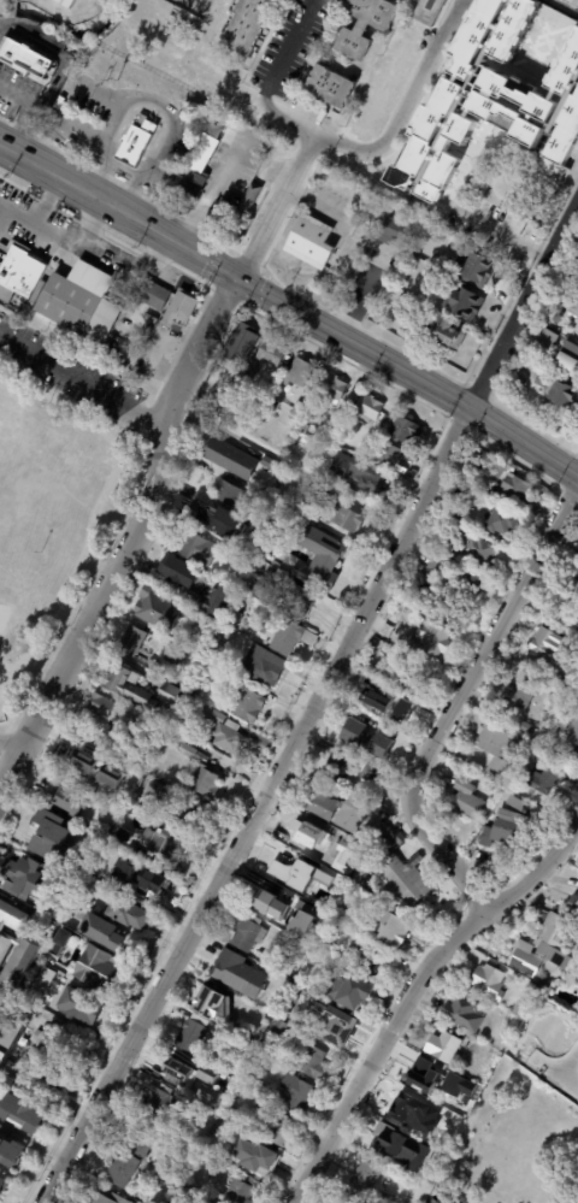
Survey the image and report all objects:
building: (64, 4)
building: (429, 12)
building: (246, 25)
building: (362, 25)
building: (491, 34)
road: (283, 52)
building: (23, 57)
building: (566, 66)
building: (328, 87)
road: (155, 101)
road: (22, 116)
building: (464, 130)
building: (565, 134)
building: (135, 138)
building: (214, 147)
road: (347, 151)
building: (350, 190)
building: (188, 191)
road: (208, 193)
road: (45, 199)
building: (231, 210)
road: (4, 212)
building: (388, 229)
road: (58, 231)
road: (508, 234)
building: (437, 236)
building: (311, 242)
road: (155, 254)
building: (476, 271)
building: (63, 296)
building: (151, 296)
building: (403, 299)
building: (461, 303)
road: (290, 306)
road: (526, 308)
building: (178, 311)
building: (572, 313)
building: (558, 318)
building: (444, 334)
building: (545, 341)
building: (238, 346)
building: (269, 354)
building: (567, 361)
building: (295, 373)
parking lot: (70, 375)
building: (248, 375)
road: (79, 376)
building: (519, 381)
building: (330, 389)
building: (555, 390)
building: (237, 400)
building: (260, 400)
building: (367, 408)
building: (295, 411)
building: (301, 429)
building: (402, 431)
park: (26, 444)
building: (387, 455)
road: (158, 456)
building: (228, 459)
road: (290, 460)
building: (267, 464)
building: (495, 468)
building: (358, 476)
park: (63, 490)
building: (513, 491)
building: (325, 495)
building: (226, 496)
building: (284, 501)
road: (95, 508)
building: (318, 518)
building: (346, 520)
building: (500, 523)
building: (448, 544)
building: (197, 550)
building: (479, 556)
building: (577, 558)
building: (238, 559)
building: (318, 560)
building: (435, 564)
building: (577, 564)
building: (417, 568)
building: (176, 573)
building: (412, 577)
building: (467, 585)
building: (568, 594)
building: (212, 603)
building: (302, 603)
building: (406, 603)
building: (155, 611)
park: (4, 612)
building: (234, 619)
building: (577, 635)
building: (285, 637)
building: (429, 639)
building: (130, 642)
building: (544, 644)
building: (576, 645)
building: (219, 650)
building: (172, 654)
building: (524, 665)
building: (361, 666)
building: (259, 667)
building: (408, 678)
building: (352, 684)
building: (554, 684)
building: (123, 688)
building: (370, 688)
building: (195, 690)
building: (166, 695)
road: (462, 697)
building: (518, 697)
building: (247, 706)
building: (564, 706)
building: (98, 707)
building: (387, 712)
building: (525, 729)
building: (220, 732)
building: (110, 735)
building: (359, 739)
building: (539, 739)
building: (571, 739)
building: (381, 745)
road: (7, 749)
building: (496, 750)
building: (185, 753)
building: (70, 759)
building: (340, 765)
building: (370, 774)
building: (543, 782)
building: (202, 783)
building: (147, 788)
building: (489, 790)
building: (66, 800)
building: (465, 802)
road: (258, 804)
building: (515, 806)
building: (334, 810)
building: (125, 813)
building: (373, 815)
building: (183, 816)
building: (104, 830)
building: (387, 830)
building: (501, 830)
building: (365, 832)
building: (302, 836)
building: (47, 838)
building: (384, 843)
building: (164, 850)
building: (328, 859)
building: (366, 861)
building: (126, 871)
building: (279, 871)
building: (356, 875)
building: (23, 878)
building: (401, 883)
building: (147, 887)
building: (267, 906)
building: (572, 906)
building: (307, 913)
building: (129, 915)
building: (330, 927)
building: (393, 930)
building: (100, 932)
building: (247, 937)
building: (11, 942)
building: (58, 942)
building: (302, 949)
building: (541, 949)
building: (312, 959)
building: (278, 960)
building: (366, 961)
building: (95, 972)
building: (237, 975)
building: (41, 977)
building: (484, 981)
road: (407, 987)
building: (530, 989)
building: (347, 991)
building: (294, 992)
building: (210, 1006)
building: (518, 1008)
building: (76, 1009)
building: (462, 1012)
building: (331, 1027)
building: (194, 1033)
building: (281, 1033)
building: (249, 1037)
building: (41, 1038)
building: (6, 1044)
building: (60, 1044)
building: (264, 1044)
building: (441, 1048)
building: (241, 1049)
building: (311, 1062)
road: (568, 1065)
building: (223, 1066)
building: (14, 1069)
building: (48, 1071)
building: (421, 1073)
road: (555, 1073)
building: (187, 1074)
building: (456, 1085)
building: (296, 1096)
building: (155, 1104)
building: (213, 1105)
building: (228, 1111)
building: (20, 1113)
building: (406, 1113)
building: (279, 1130)
building: (182, 1131)
building: (212, 1131)
building: (449, 1131)
building: (137, 1137)
building: (412, 1140)
building: (383, 1144)
building: (424, 1148)
building: (10, 1151)
building: (177, 1163)
building: (259, 1166)
building: (122, 1169)
building: (420, 1175)
building: (362, 1178)
building: (2, 1184)
building: (236, 1192)
building: (184, 1196)
building: (382, 1197)
building: (105, 1199)
building: (350, 1202)
building: (365, 1202)

